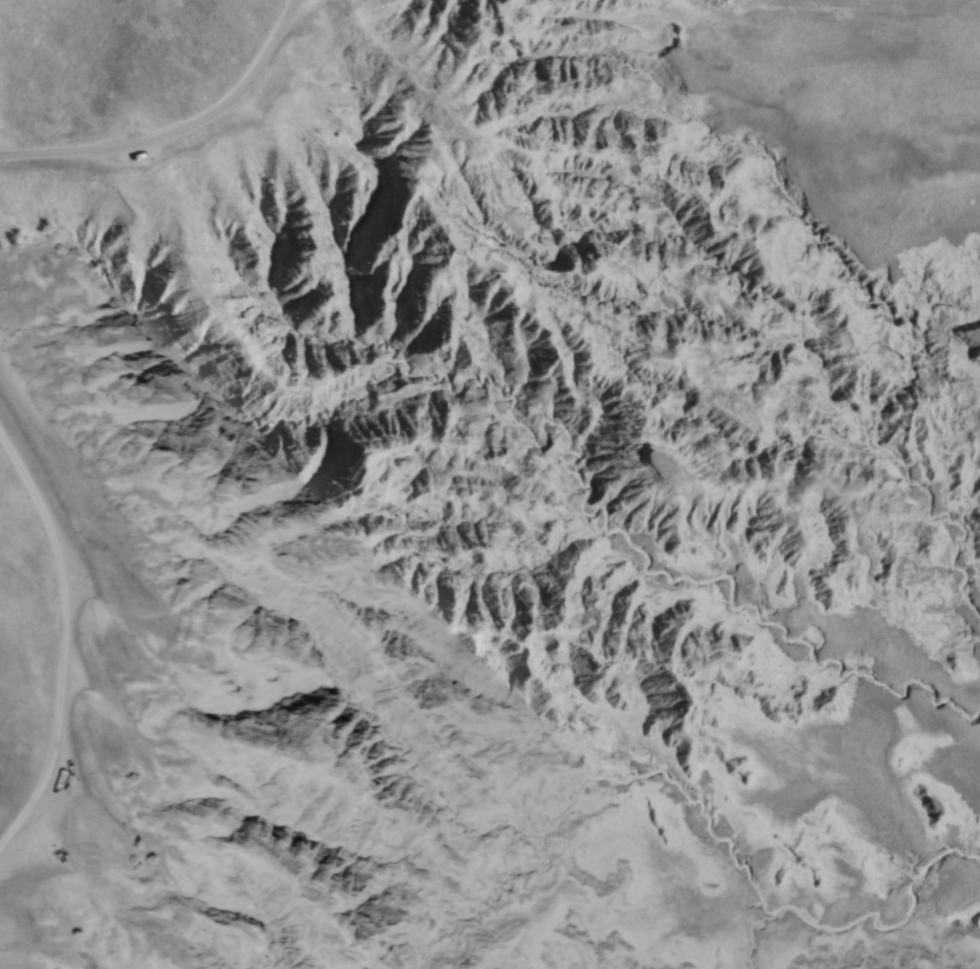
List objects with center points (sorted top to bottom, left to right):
road: (183, 134)
road: (55, 637)

